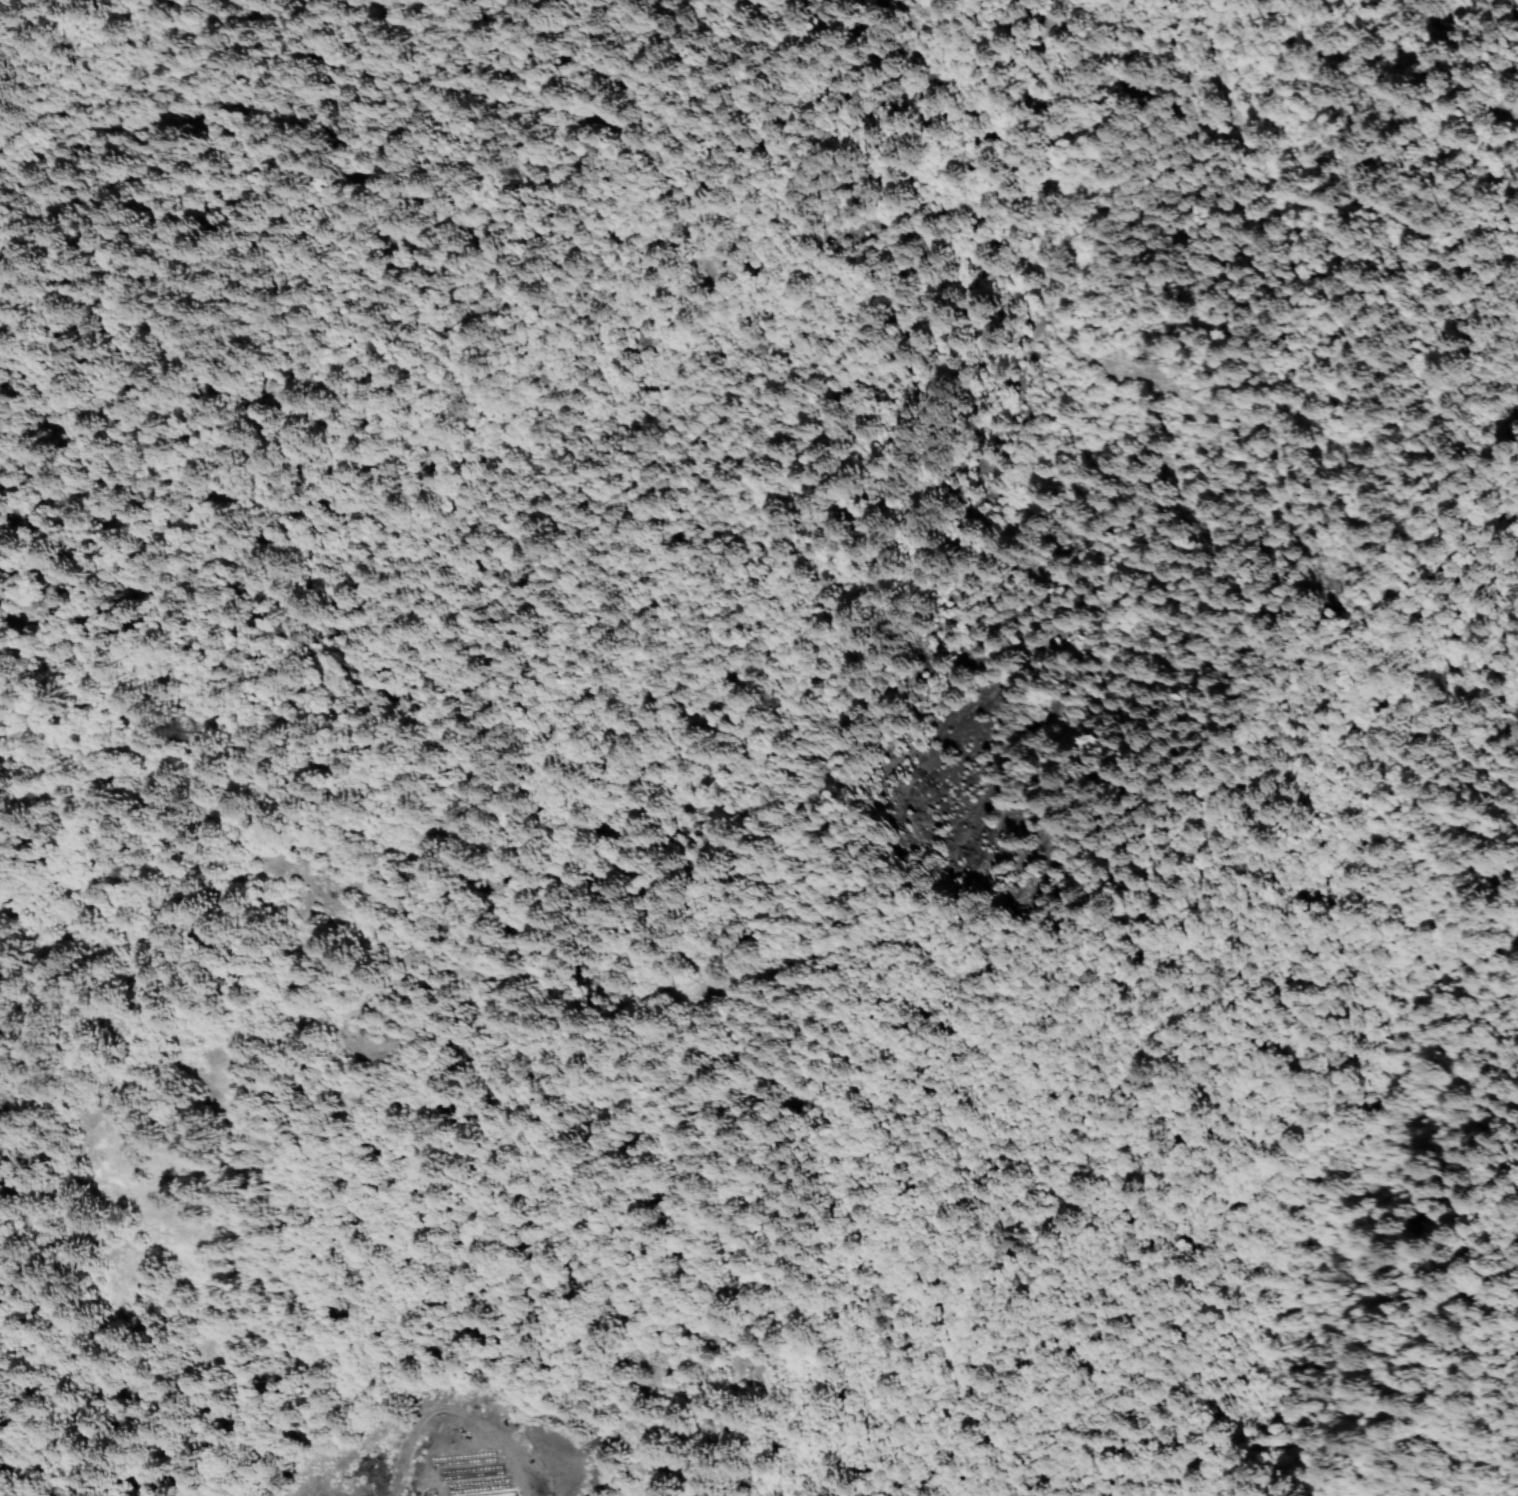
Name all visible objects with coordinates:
road: (36, 1478)

